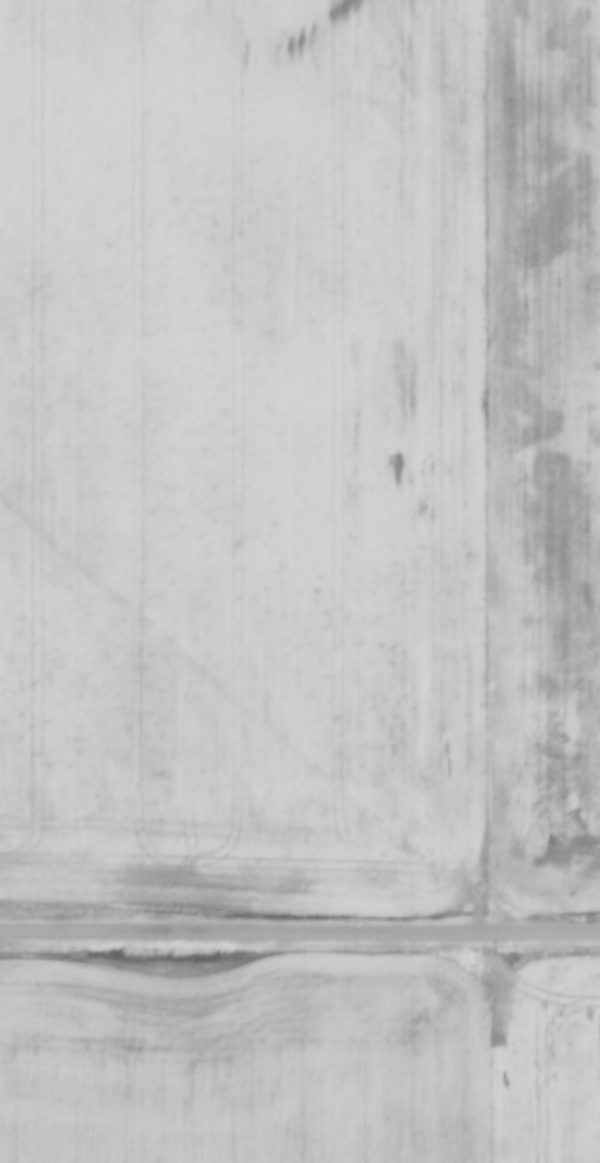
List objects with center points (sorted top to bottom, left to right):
road: (299, 930)

